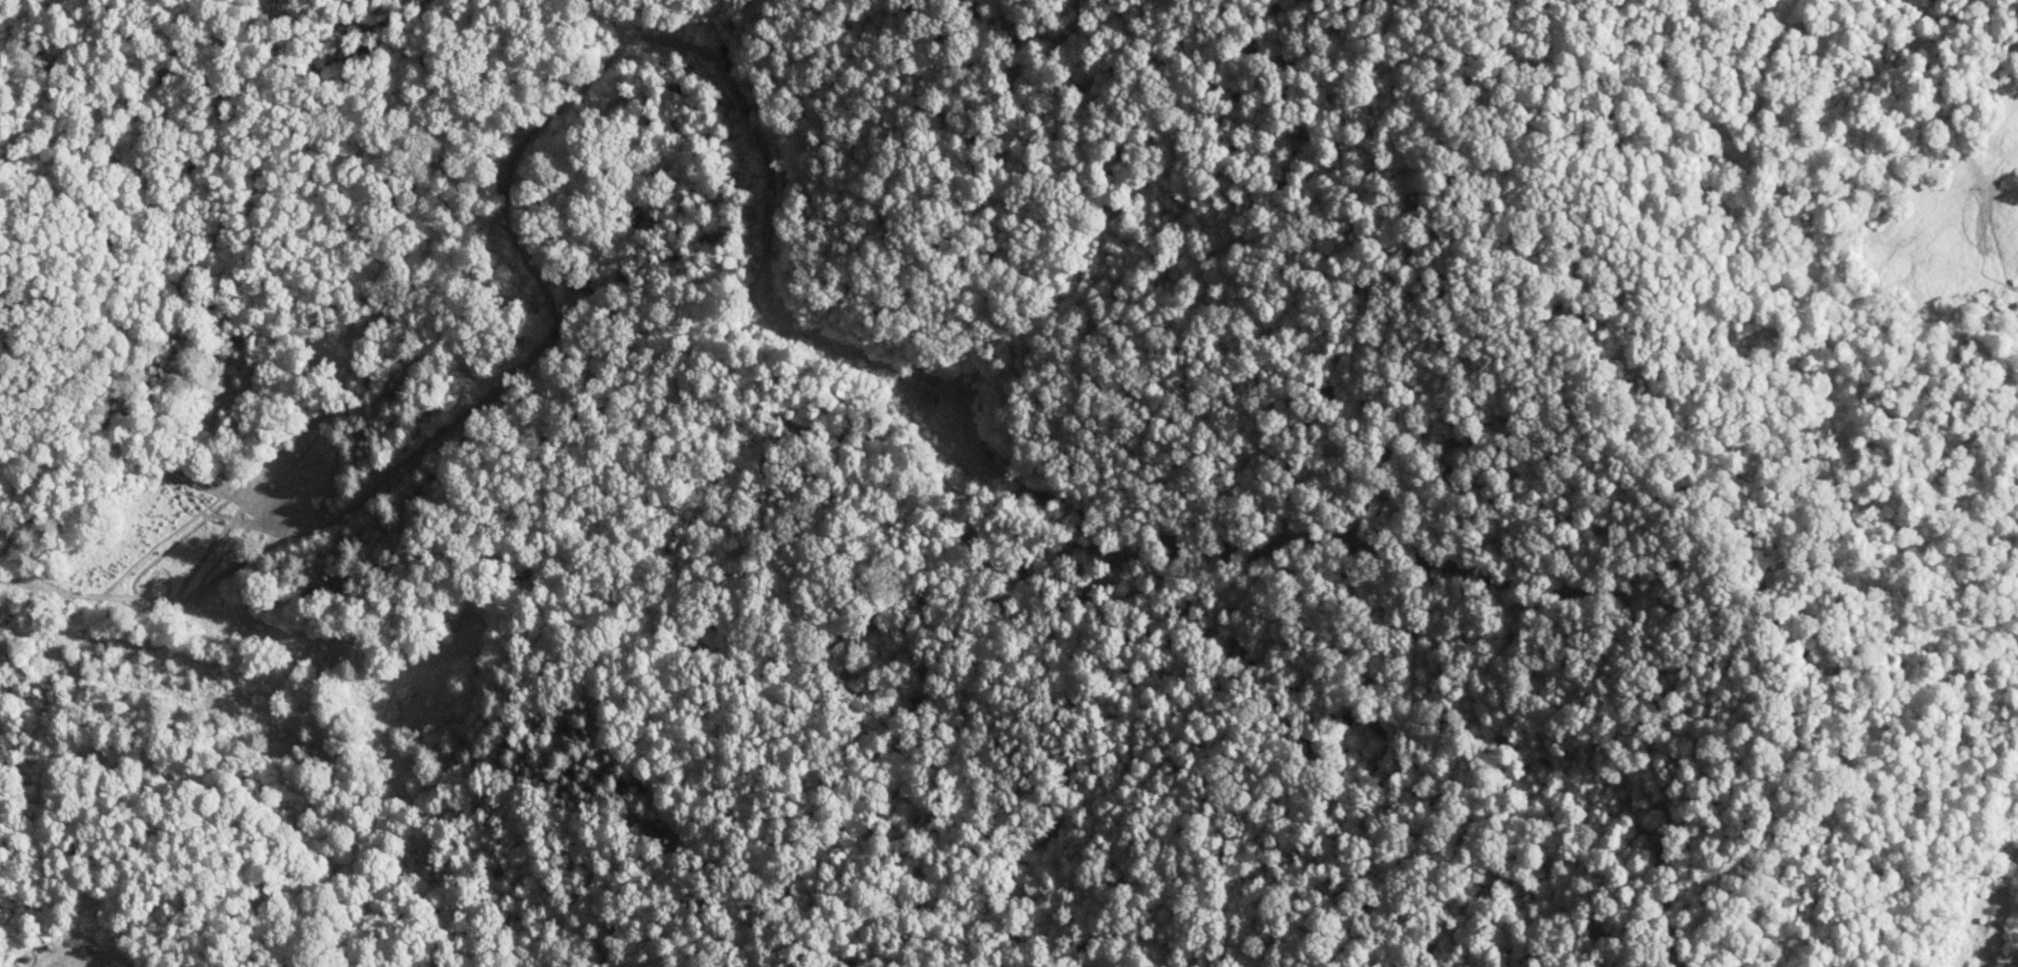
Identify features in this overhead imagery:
road: (670, 912)

